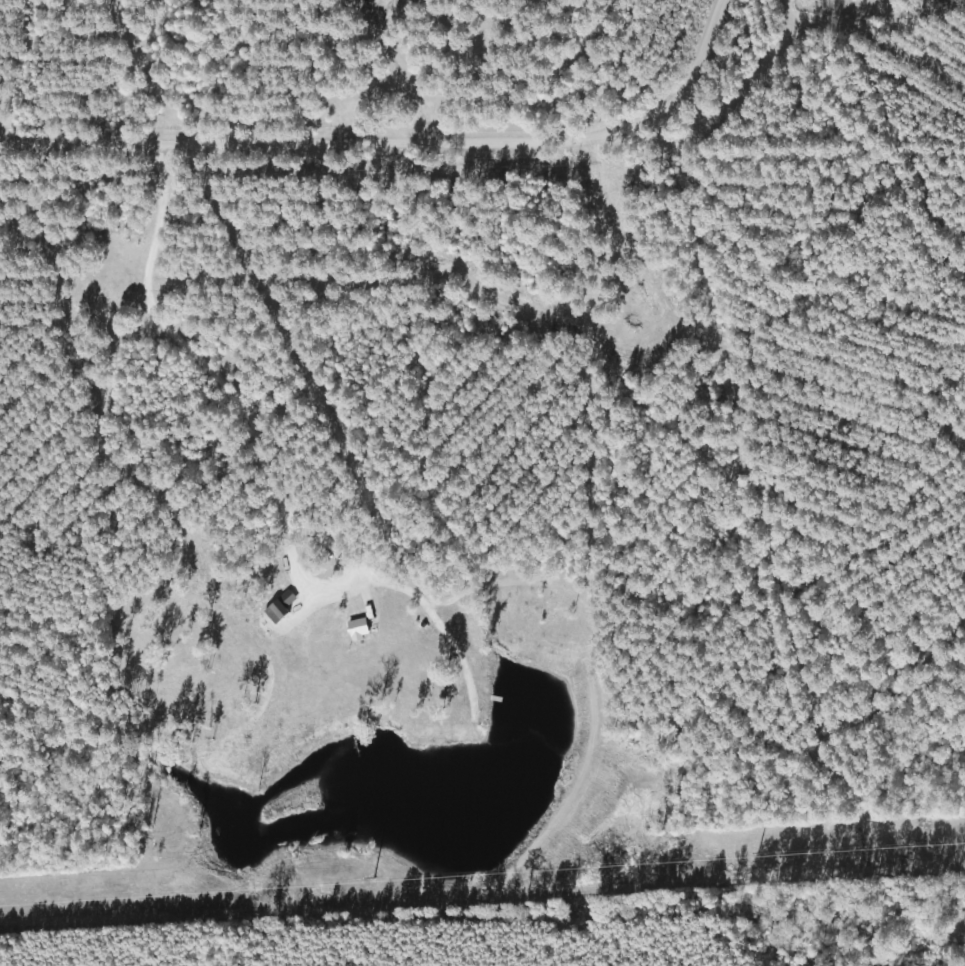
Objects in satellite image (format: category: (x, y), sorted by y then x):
road: (397, 143)
building: (280, 612)
power tower: (752, 858)
power tower: (380, 880)
power tower: (52, 904)

